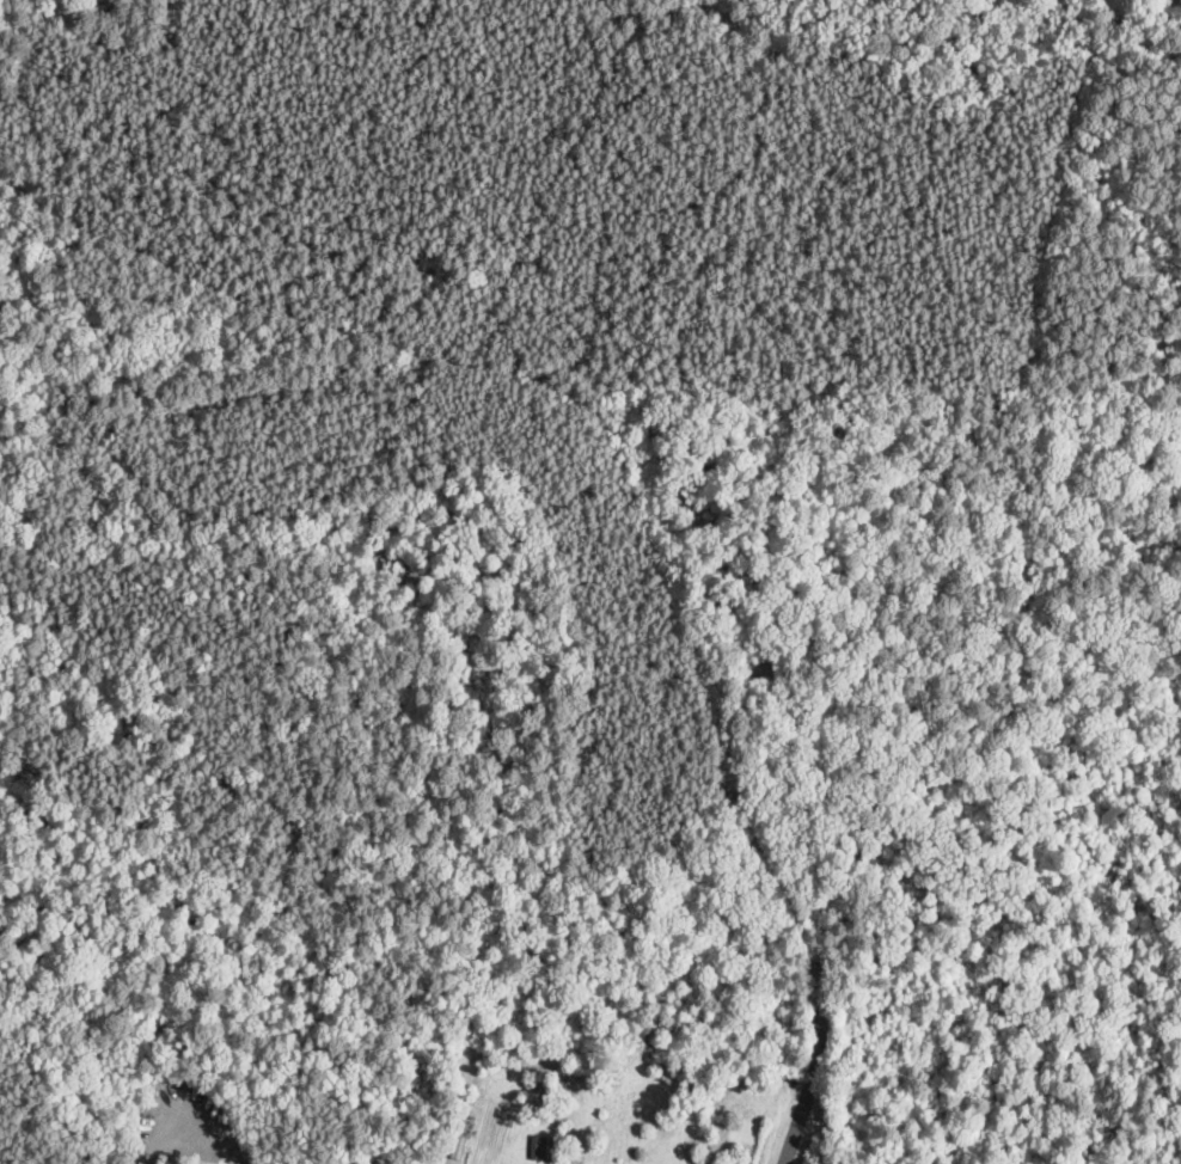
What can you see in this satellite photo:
road: (191, 1115)
building: (469, 1125)
road: (793, 1134)
building: (466, 1135)
building: (547, 1139)
building: (537, 1145)
building: (546, 1154)

